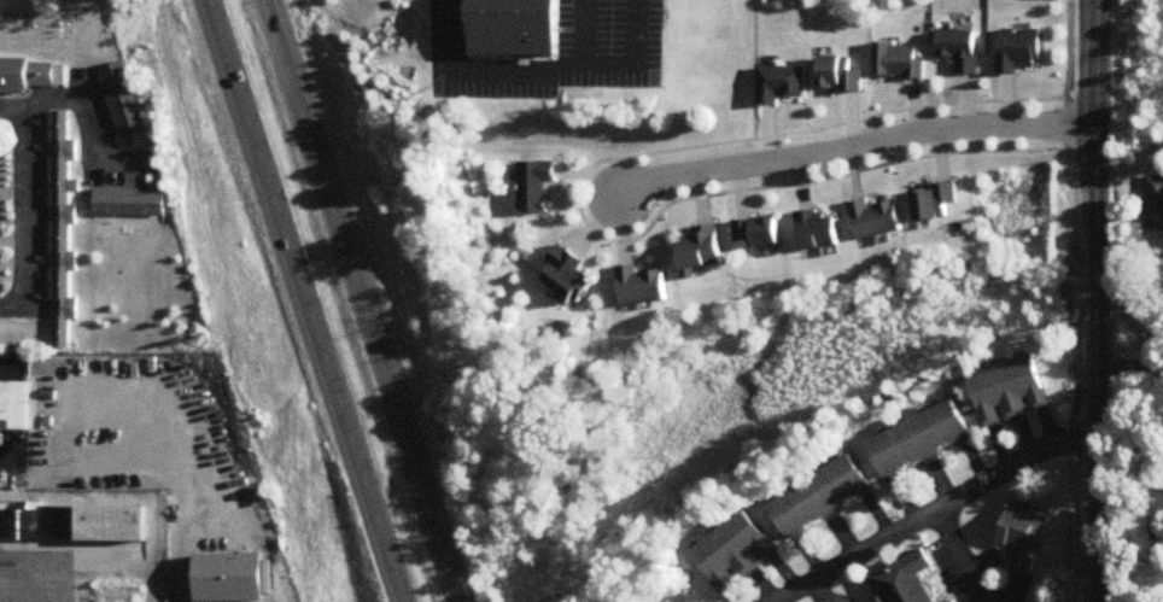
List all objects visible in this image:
building: (518, 25)
road: (585, 30)
park: (382, 51)
building: (960, 52)
building: (1019, 53)
building: (898, 63)
road: (746, 65)
building: (28, 76)
road: (539, 76)
building: (840, 77)
building: (779, 84)
building: (122, 101)
road: (86, 118)
road: (851, 138)
building: (533, 187)
building: (129, 203)
building: (937, 204)
building: (1155, 205)
road: (22, 208)
road: (581, 220)
building: (877, 221)
road: (1095, 221)
building: (62, 230)
building: (820, 233)
building: (761, 234)
building: (705, 251)
building: (569, 277)
building: (643, 288)
road: (309, 300)
road: (360, 300)
road: (11, 308)
road: (1129, 363)
road: (7, 378)
building: (1011, 394)
building: (14, 409)
building: (921, 442)
road: (8, 458)
building: (822, 498)
road: (933, 510)
road: (1097, 522)
building: (74, 524)
road: (1129, 528)
building: (1023, 537)
building: (736, 554)
road: (955, 559)
building: (230, 578)
road: (33, 580)
building: (907, 580)

